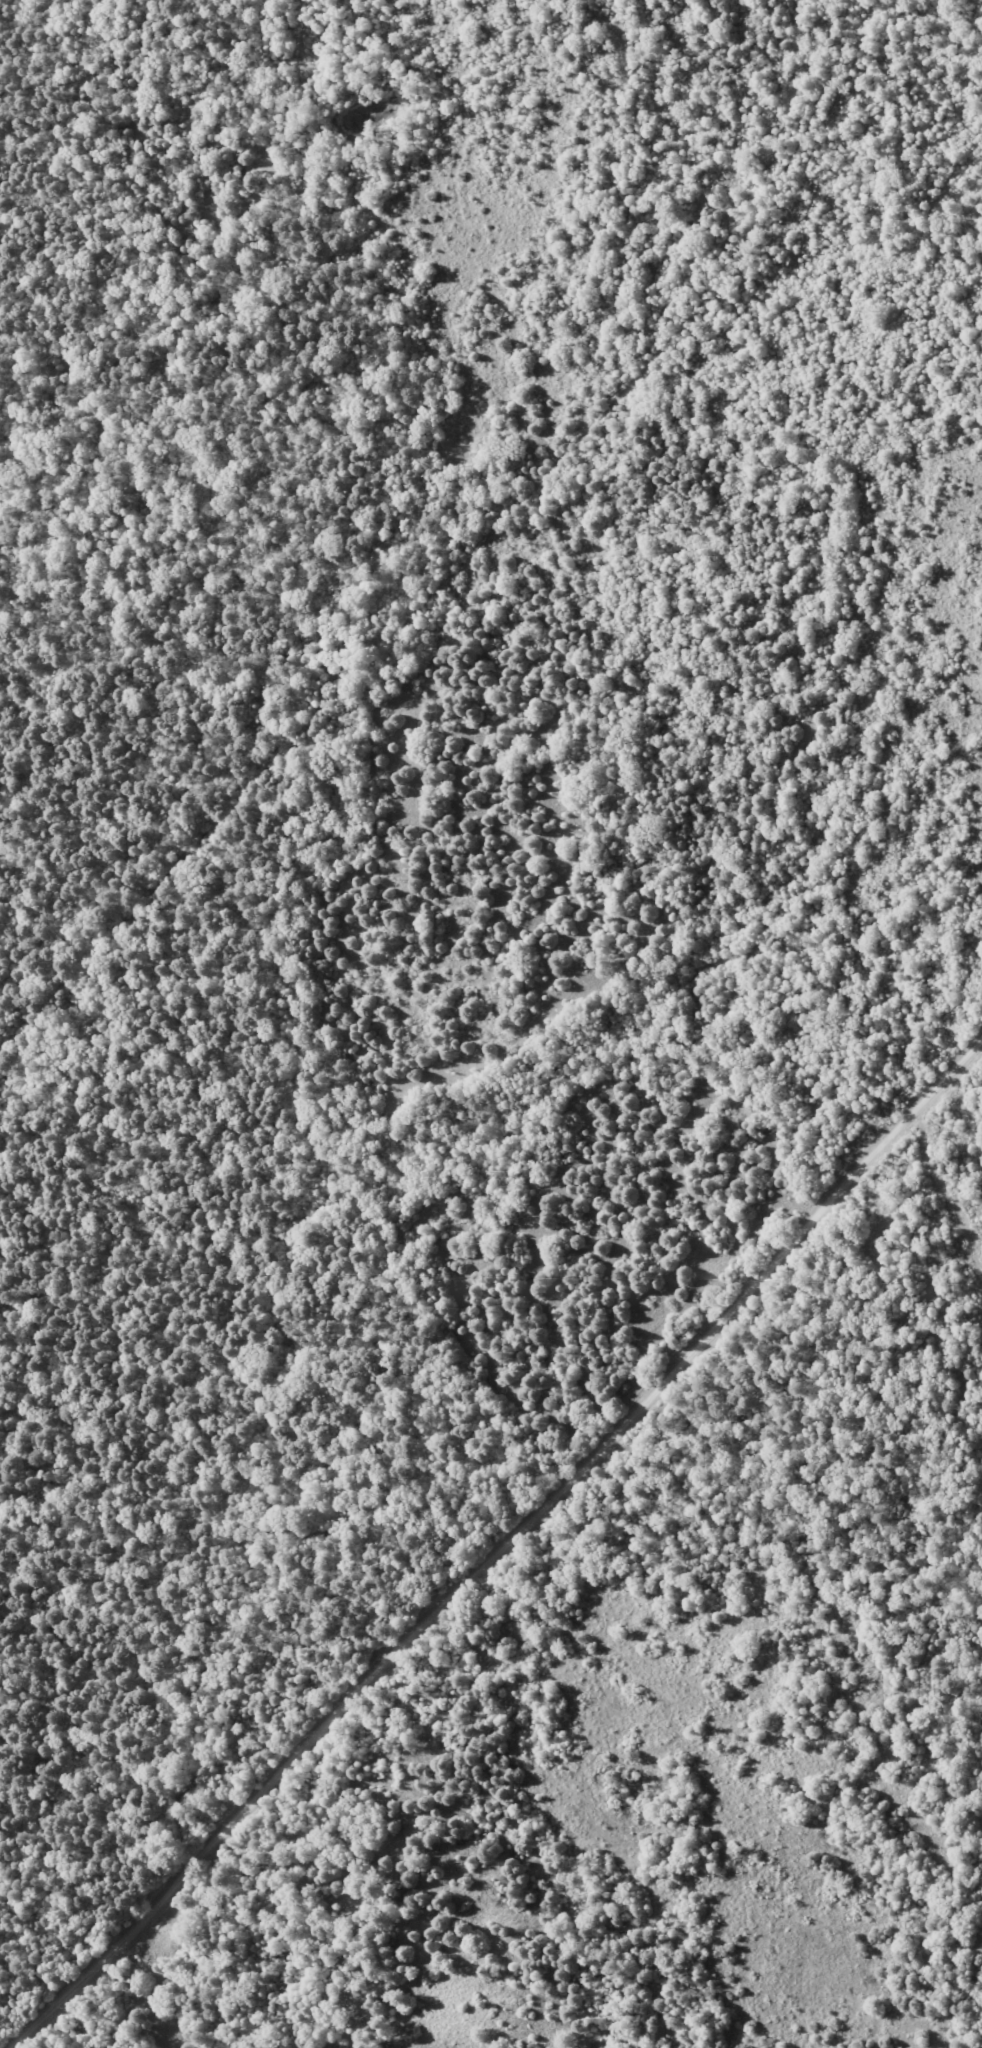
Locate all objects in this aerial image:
road: (501, 1546)

